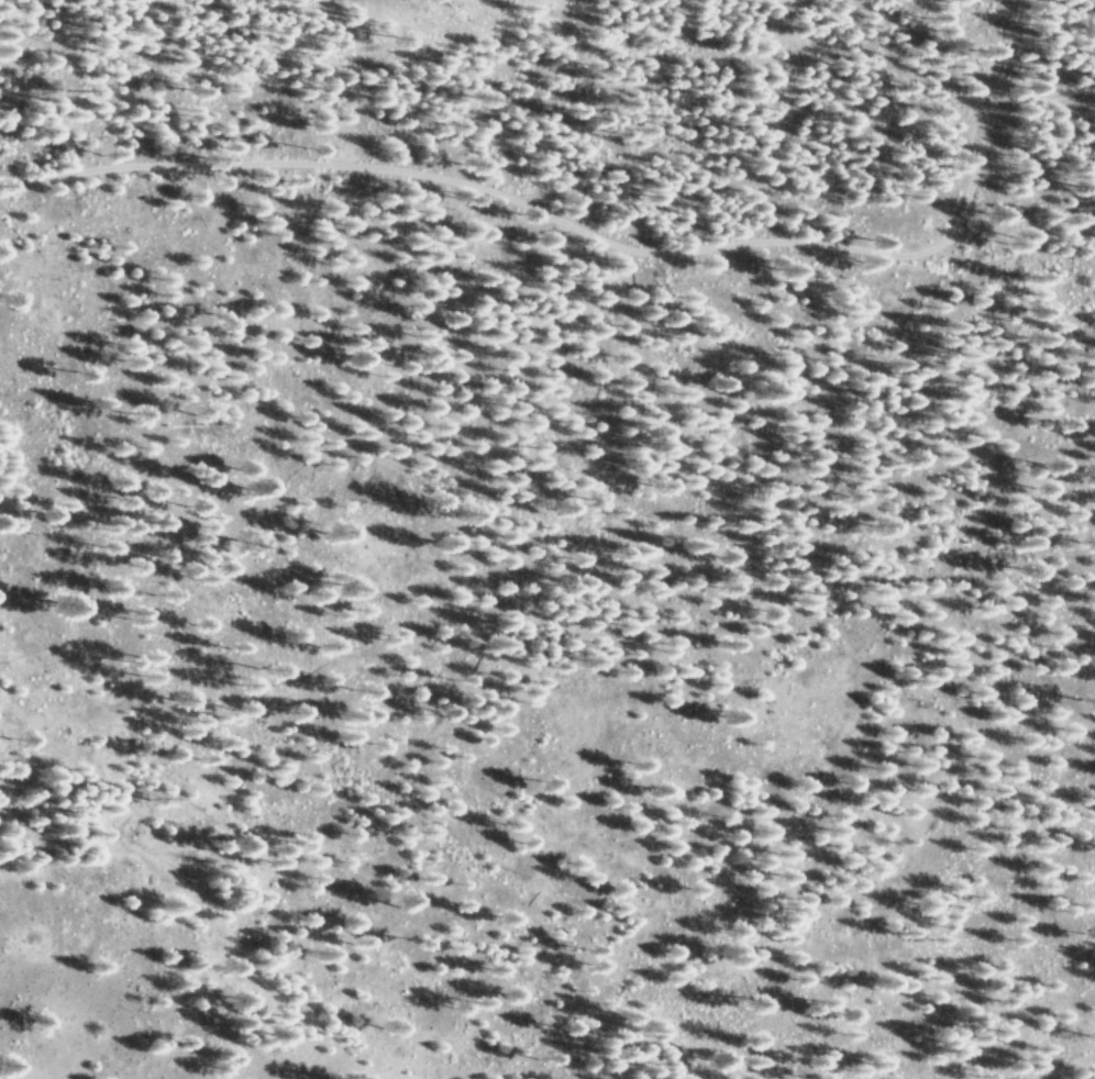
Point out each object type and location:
road: (306, 338)

